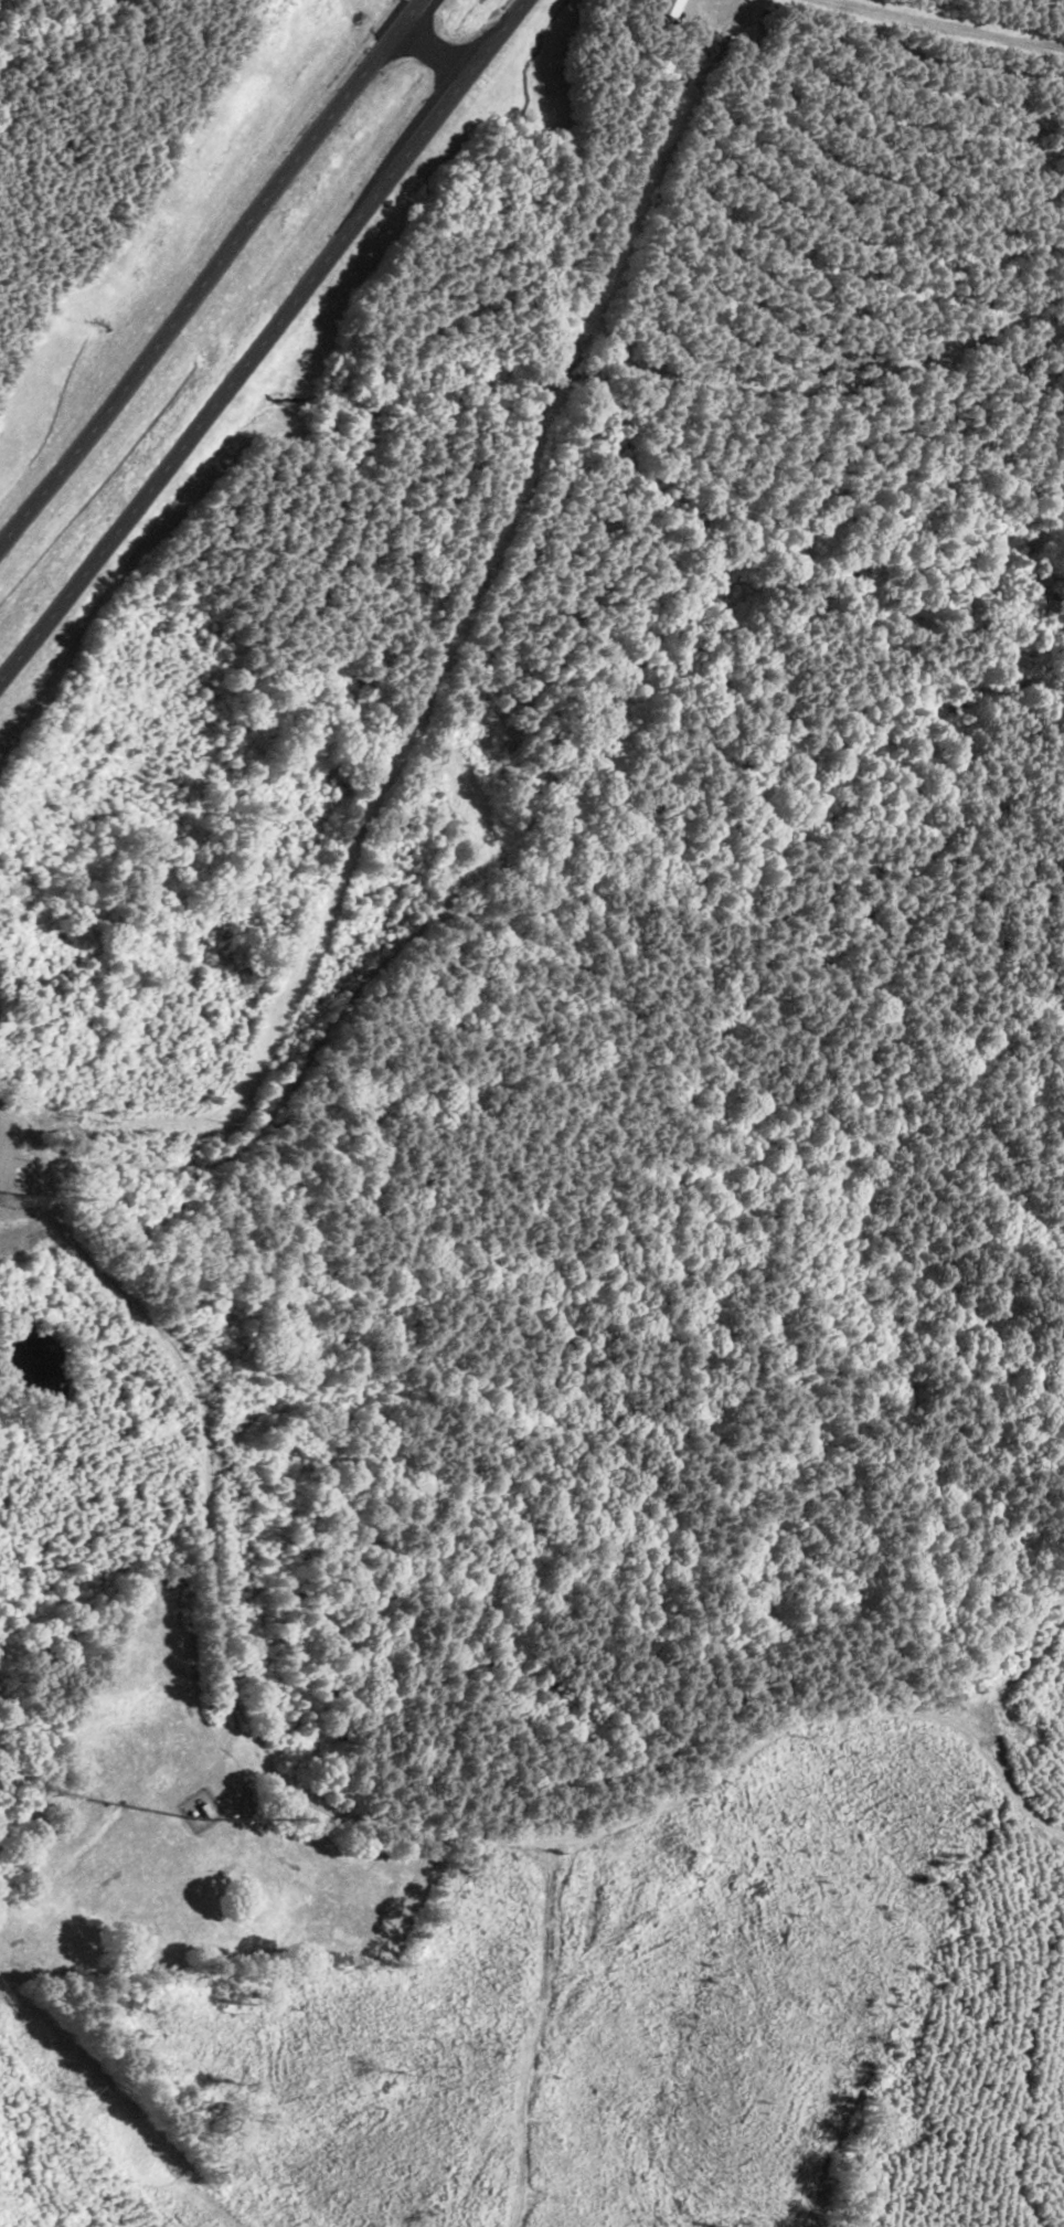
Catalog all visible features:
road: (209, 263)
road: (259, 338)
road: (317, 991)
road: (318, 1825)

